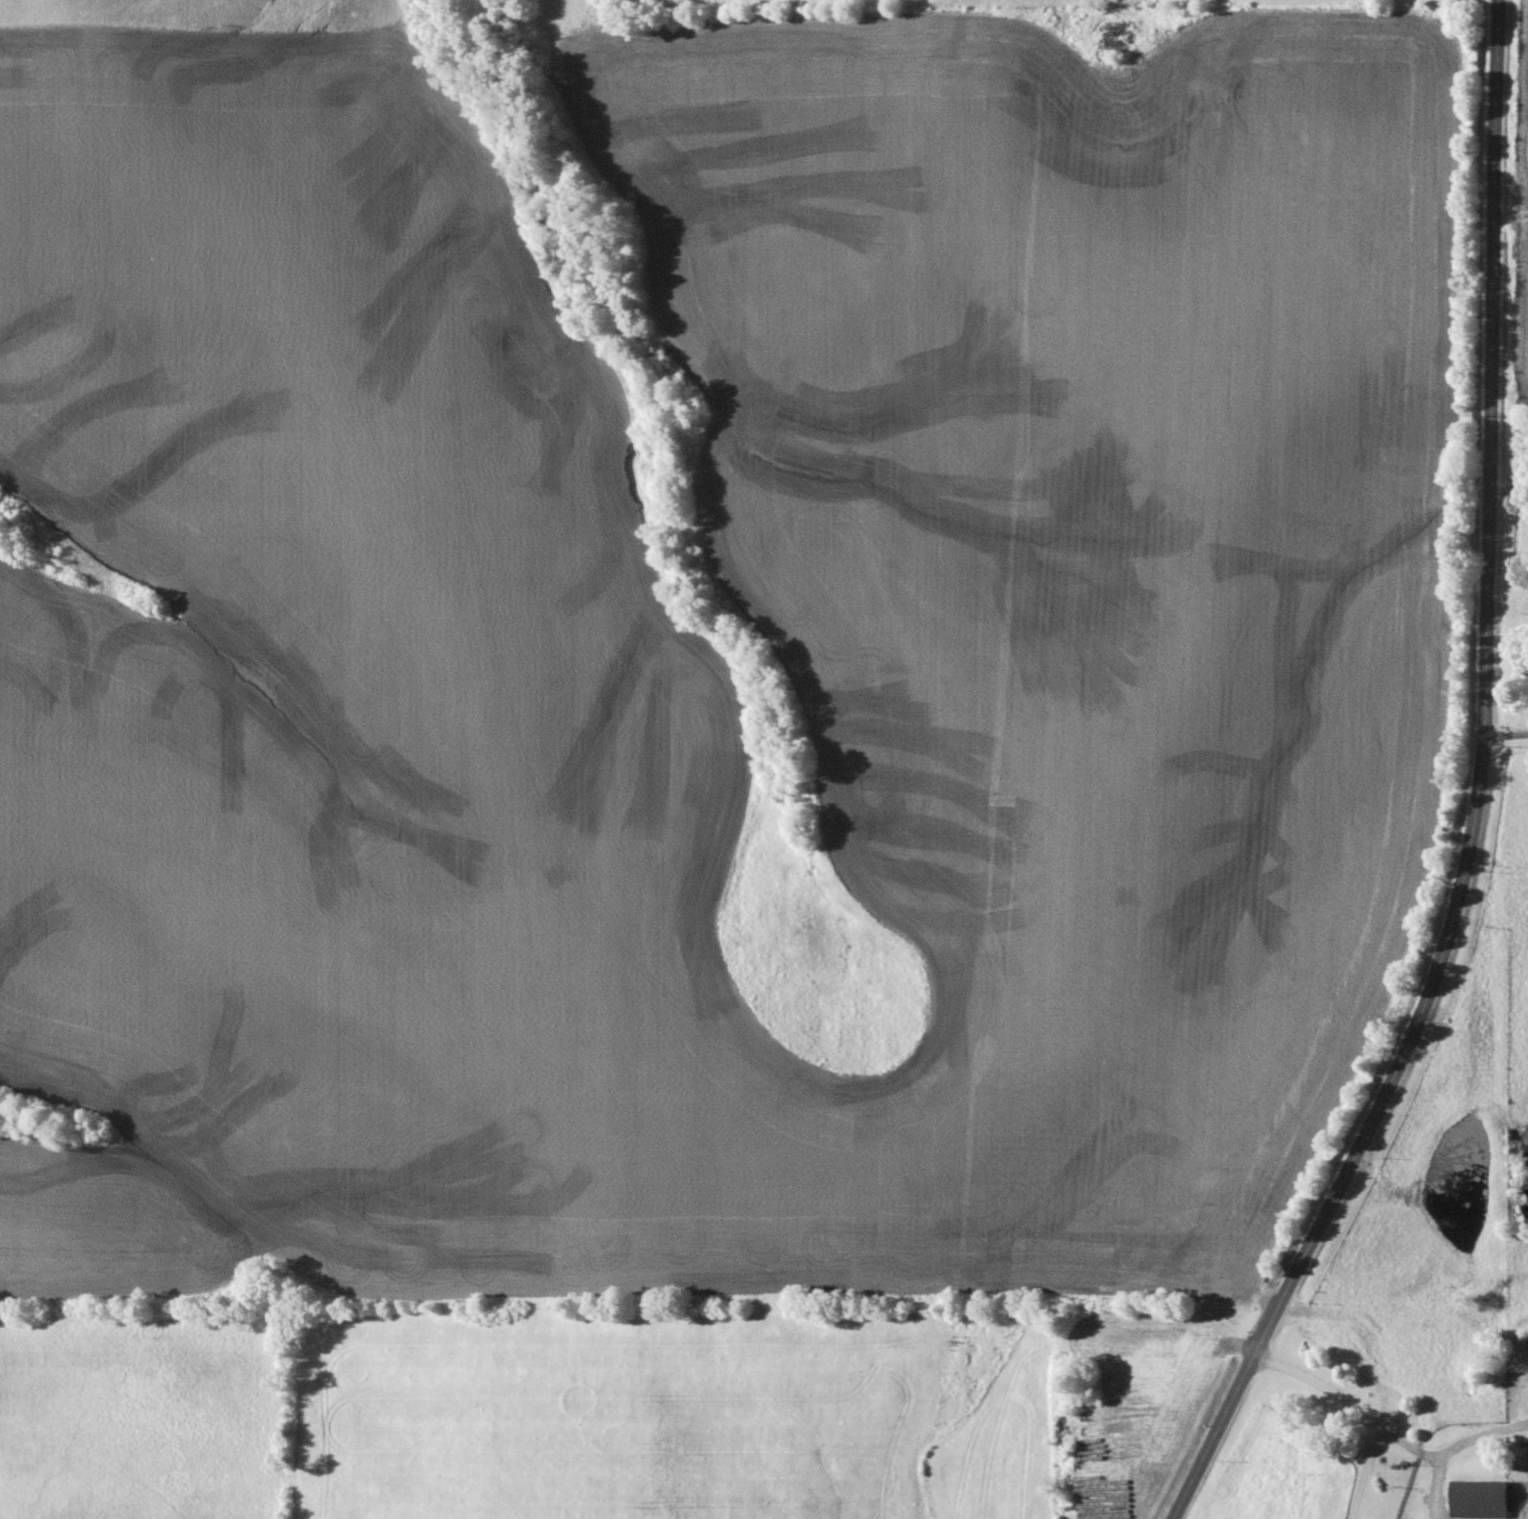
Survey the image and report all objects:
road: (1506, 733)
road: (1477, 792)
road: (1304, 1378)
road: (1478, 1436)
road: (1420, 1449)
road: (1367, 1463)
building: (1480, 1498)

